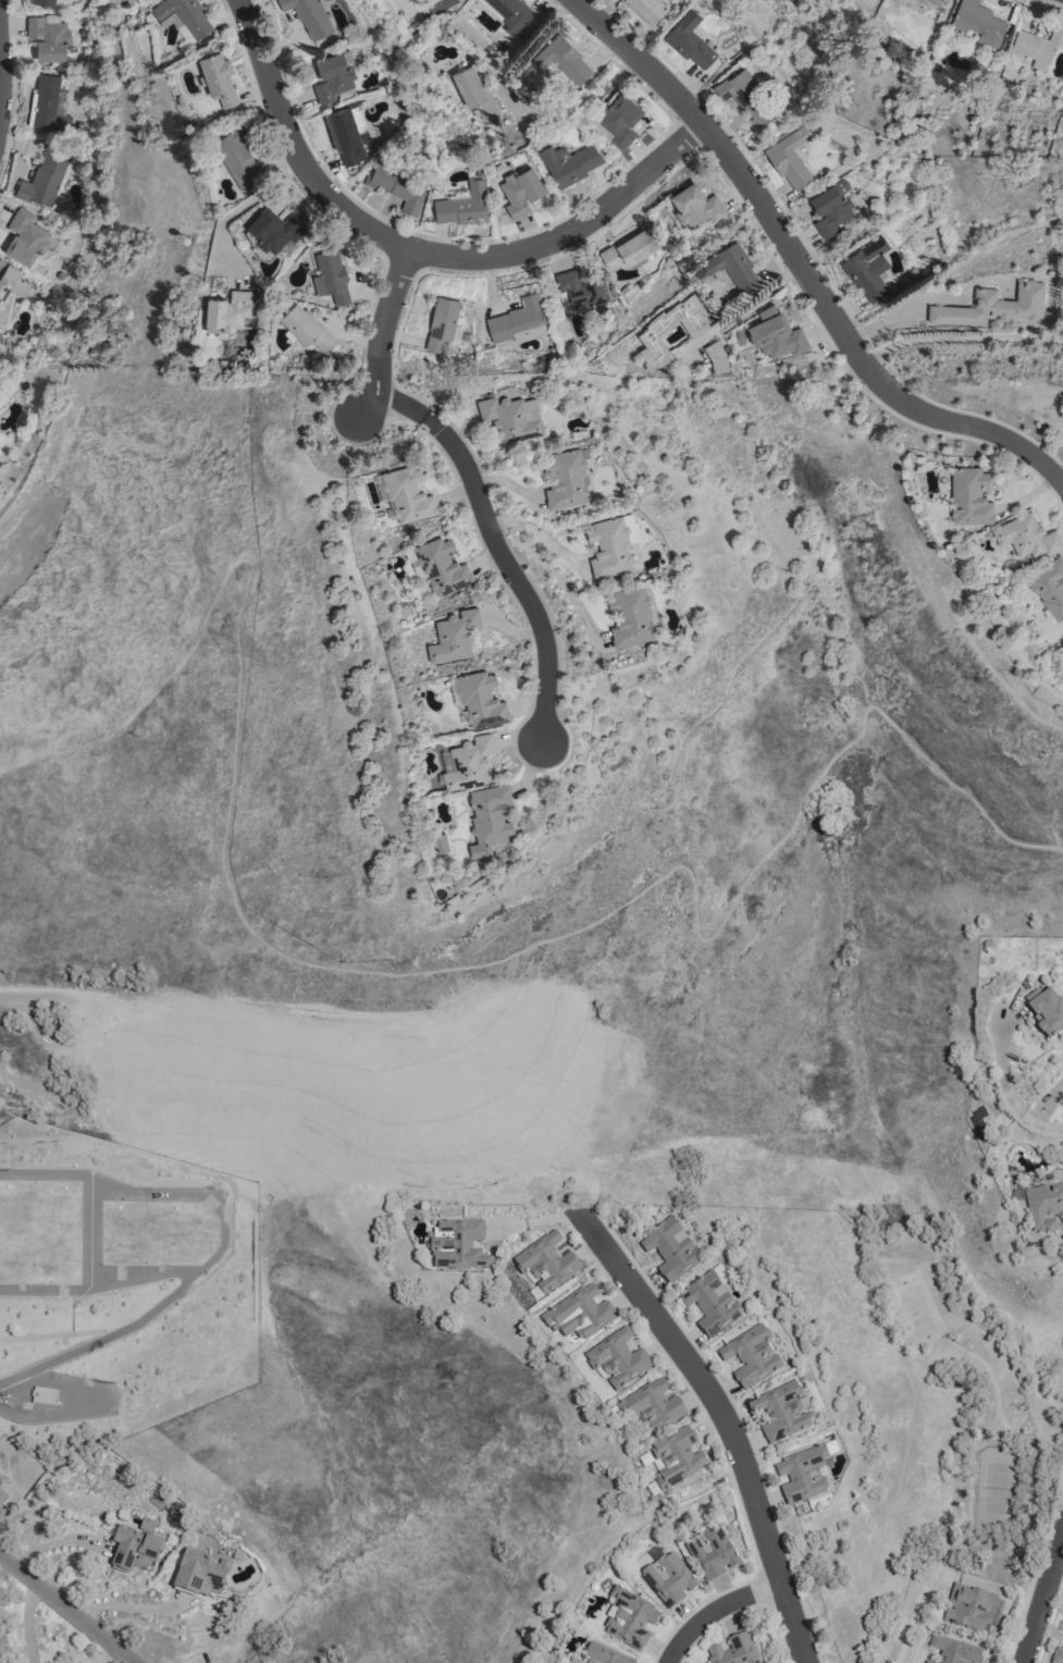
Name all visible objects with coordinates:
building: (45, 2)
building: (932, 2)
building: (646, 9)
building: (512, 14)
building: (185, 15)
building: (309, 17)
building: (977, 23)
building: (48, 37)
building: (690, 40)
road: (527, 46)
building: (1037, 47)
building: (561, 61)
road: (0, 73)
building: (218, 77)
building: (738, 87)
building: (473, 93)
building: (50, 106)
building: (618, 121)
building: (347, 134)
building: (236, 153)
building: (790, 158)
building: (569, 163)
building: (44, 177)
building: (398, 185)
building: (520, 192)
road: (242, 206)
building: (462, 206)
building: (694, 206)
building: (831, 208)
building: (273, 230)
building: (25, 238)
building: (629, 248)
road: (422, 250)
road: (803, 266)
building: (730, 268)
building: (868, 269)
building: (331, 276)
building: (10, 284)
building: (582, 290)
road: (743, 306)
building: (992, 306)
building: (226, 313)
building: (442, 322)
building: (518, 322)
building: (306, 328)
building: (648, 332)
building: (776, 334)
road: (961, 337)
building: (716, 357)
road: (375, 417)
building: (511, 418)
road: (472, 479)
building: (565, 479)
building: (969, 494)
building: (407, 495)
building: (1026, 535)
road: (539, 537)
building: (609, 549)
road: (245, 561)
building: (438, 566)
road: (557, 577)
building: (1049, 587)
building: (630, 618)
building: (454, 636)
building: (481, 700)
building: (467, 763)
building: (489, 818)
building: (440, 846)
road: (633, 895)
building: (1045, 1010)
road: (224, 1015)
road: (1034, 1124)
road: (893, 1125)
building: (1045, 1207)
building: (457, 1244)
building: (670, 1249)
building: (545, 1264)
building: (709, 1305)
building: (579, 1315)
storage tank: (37, 1316)
building: (750, 1357)
building: (617, 1359)
building: (42, 1395)
building: (651, 1407)
building: (780, 1412)
road: (18, 1415)
road: (728, 1418)
building: (675, 1457)
building: (801, 1475)
building: (2, 1496)
building: (133, 1550)
building: (710, 1553)
building: (198, 1574)
building: (667, 1578)
road: (1041, 1596)
road: (129, 1606)
building: (969, 1607)
road: (66, 1609)
road: (721, 1611)
building: (629, 1617)
road: (26, 1622)
road: (911, 1625)
building: (733, 1650)
building: (953, 1650)
building: (602, 1655)
building: (1056, 1655)

